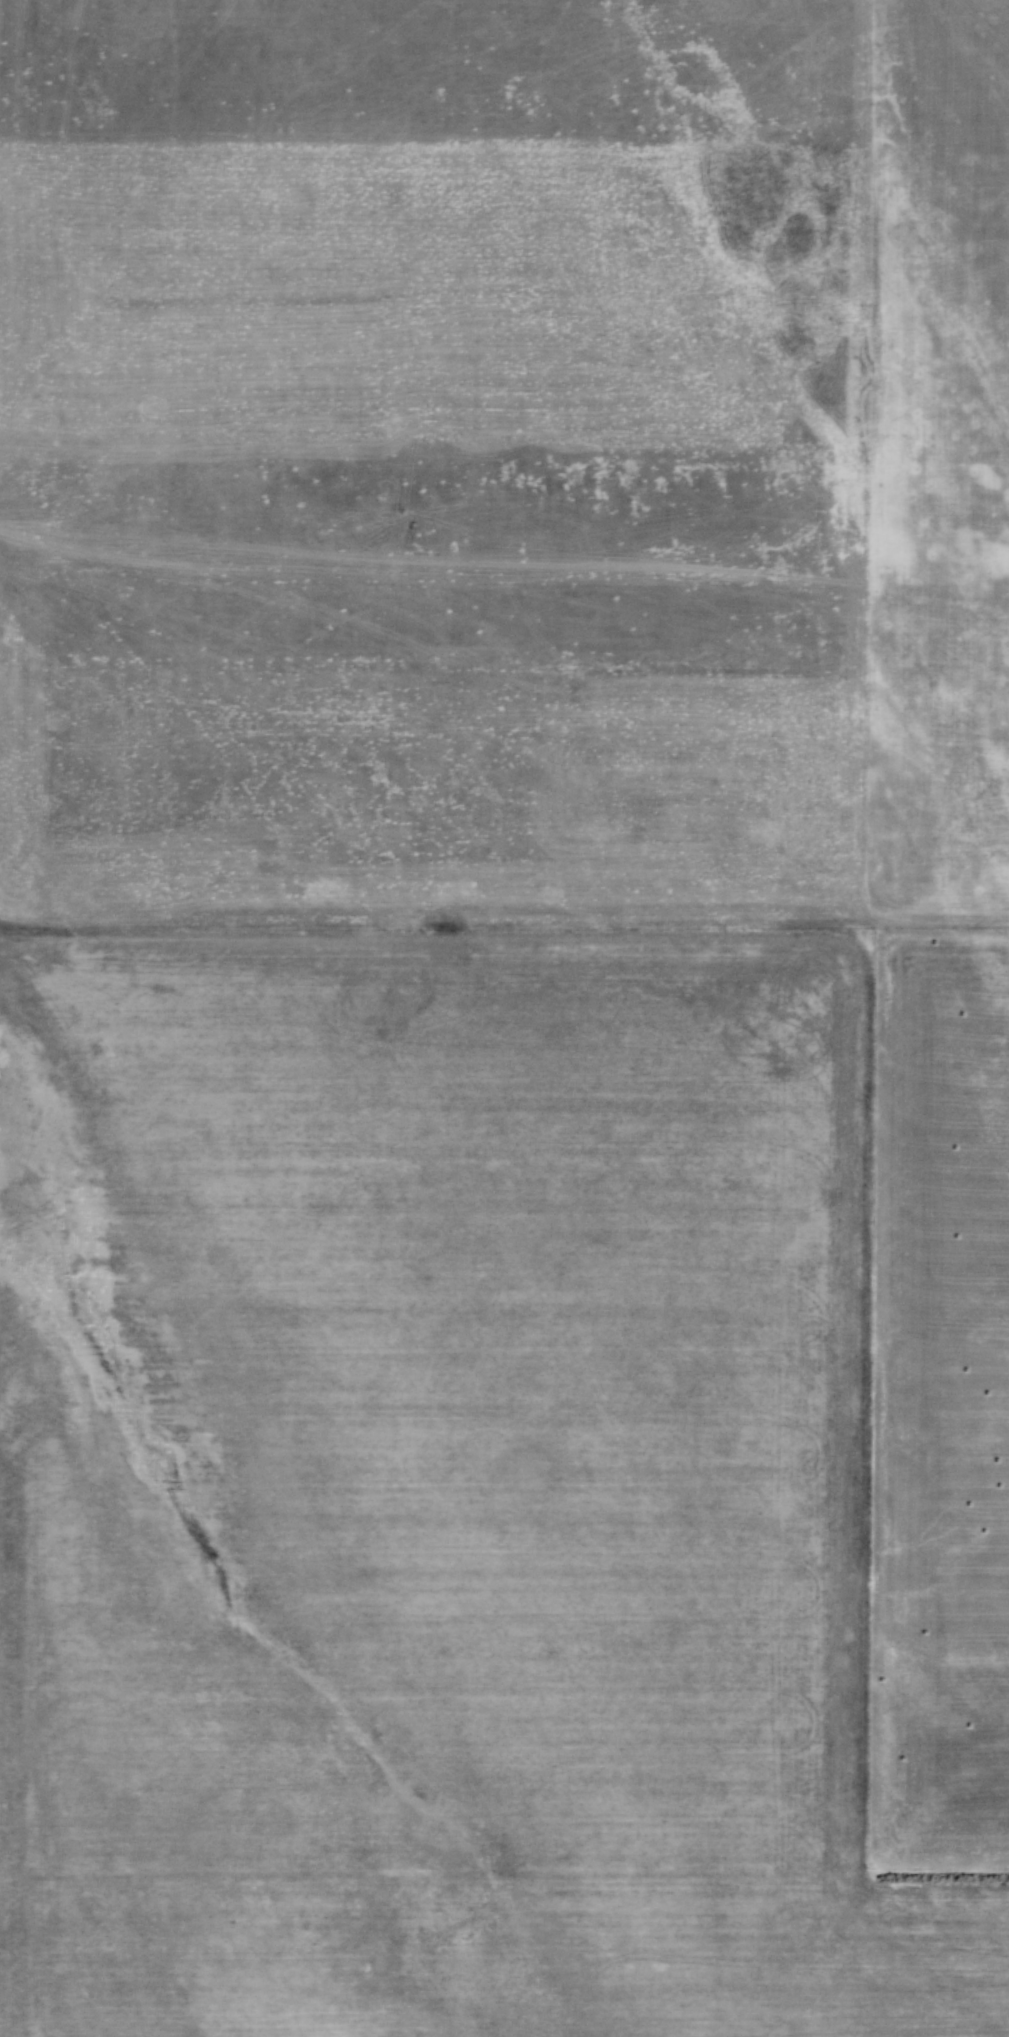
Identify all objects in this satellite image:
building: (944, 1880)

